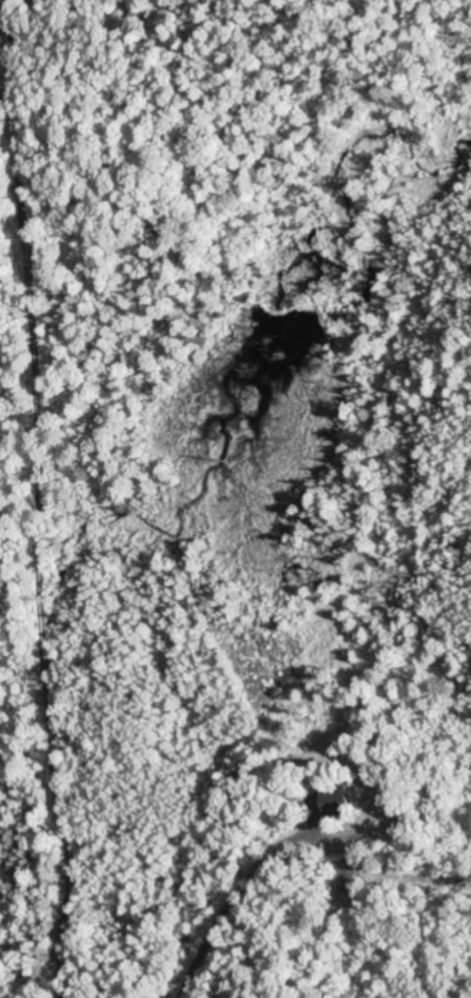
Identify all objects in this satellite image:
building: (336, 798)

